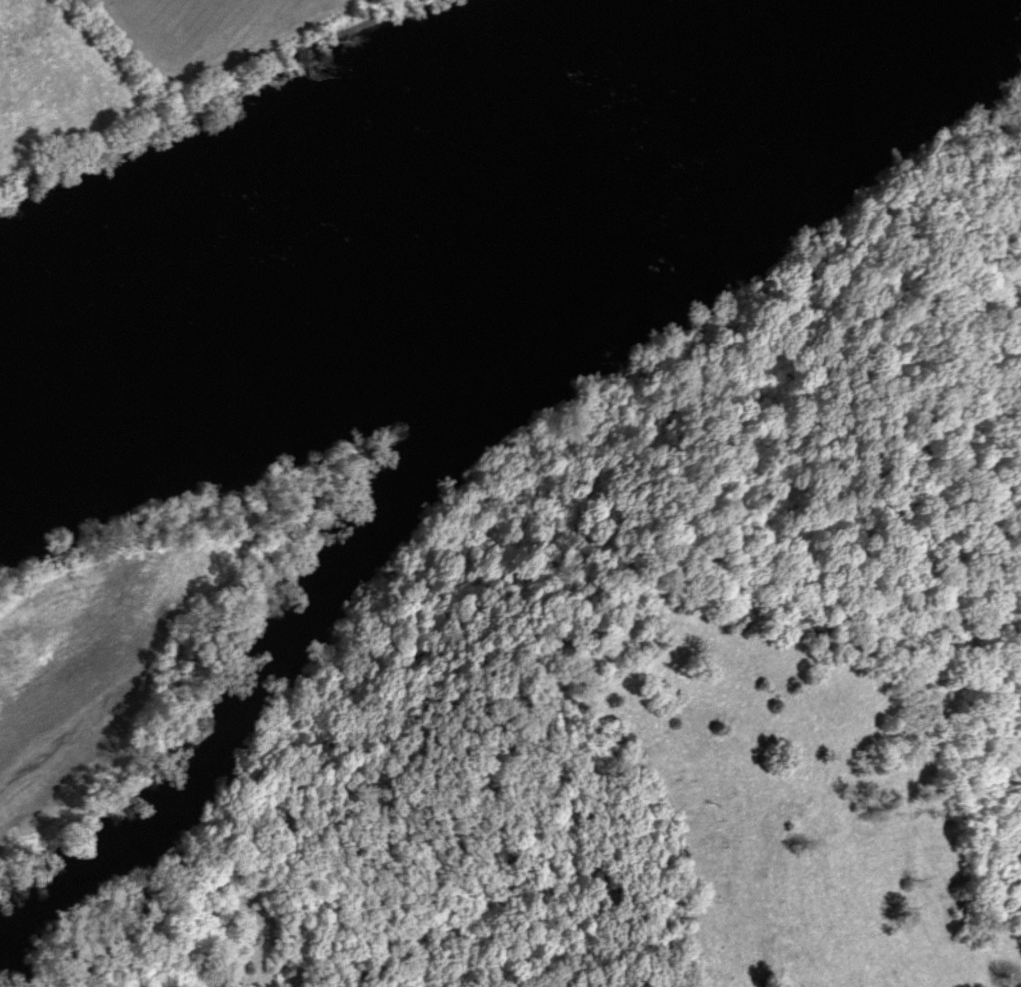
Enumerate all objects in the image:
river: (389, 230)

